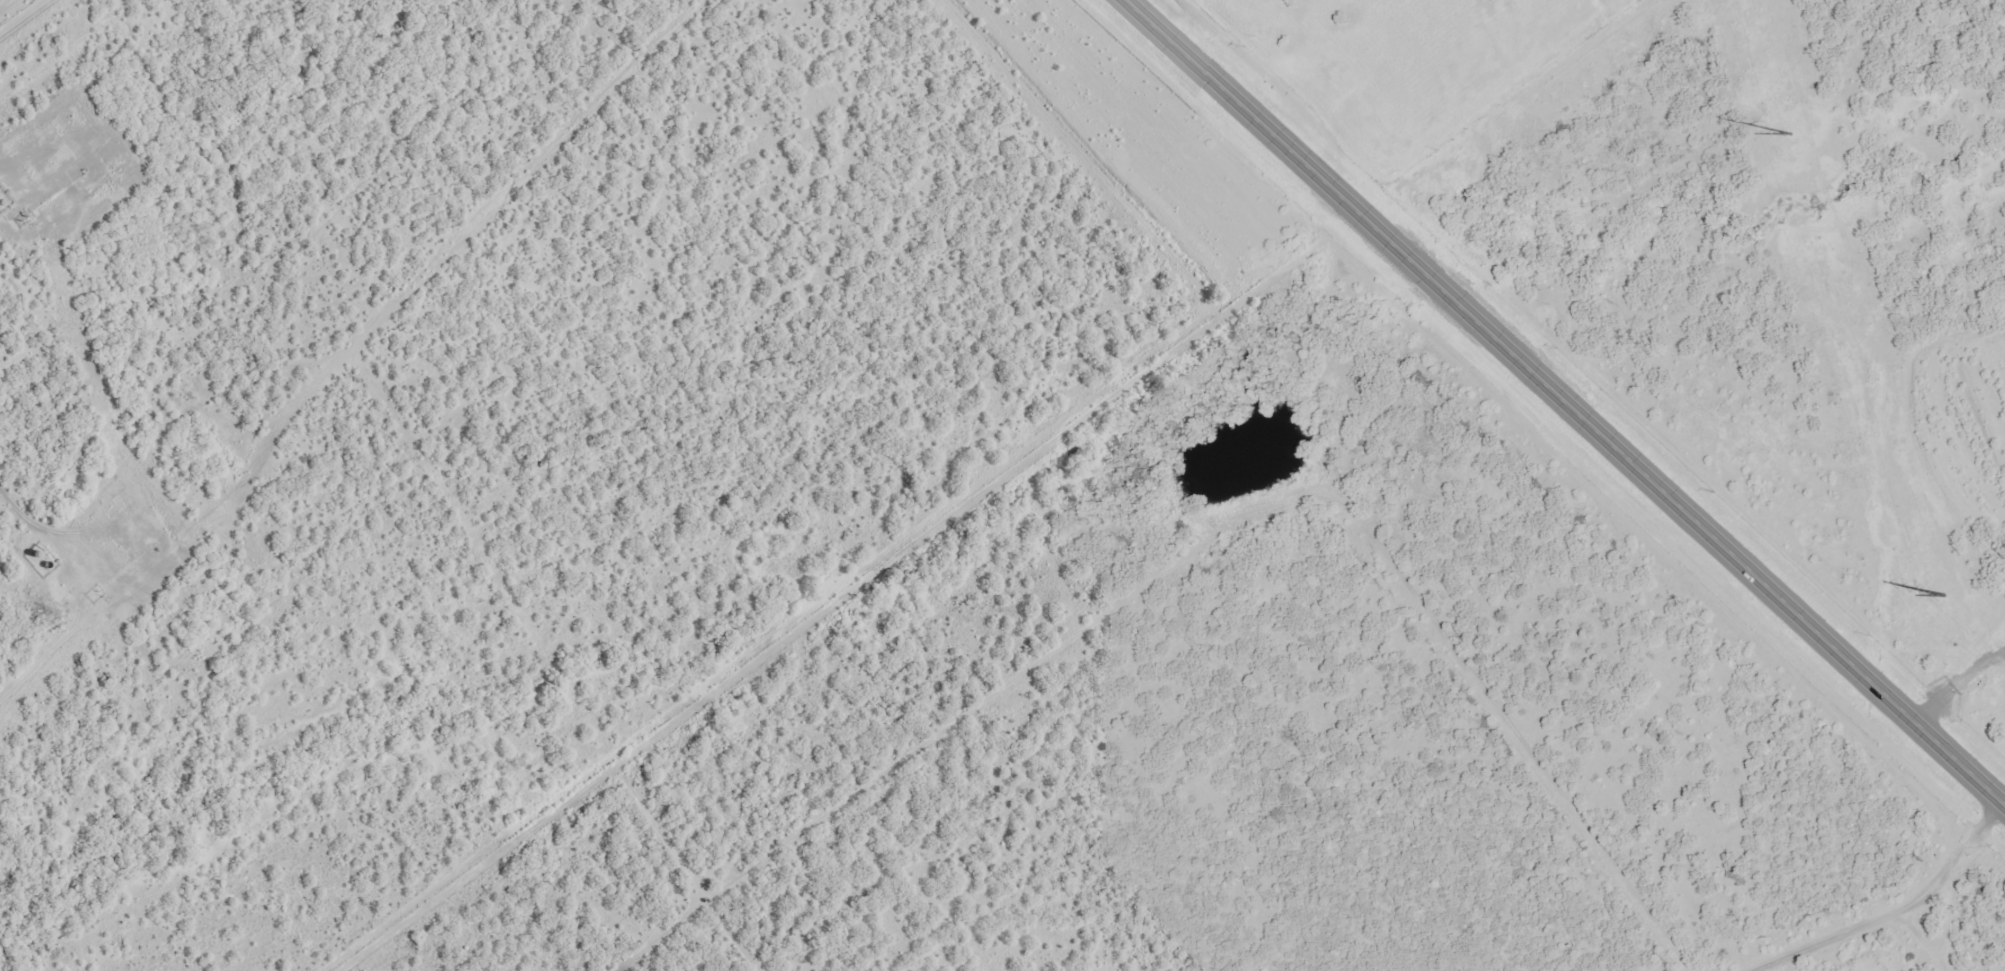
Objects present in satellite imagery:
road: (1476, 112)
power tower: (1790, 134)
road: (1570, 400)
power tower: (1943, 595)
road: (1961, 685)
road: (1889, 909)

